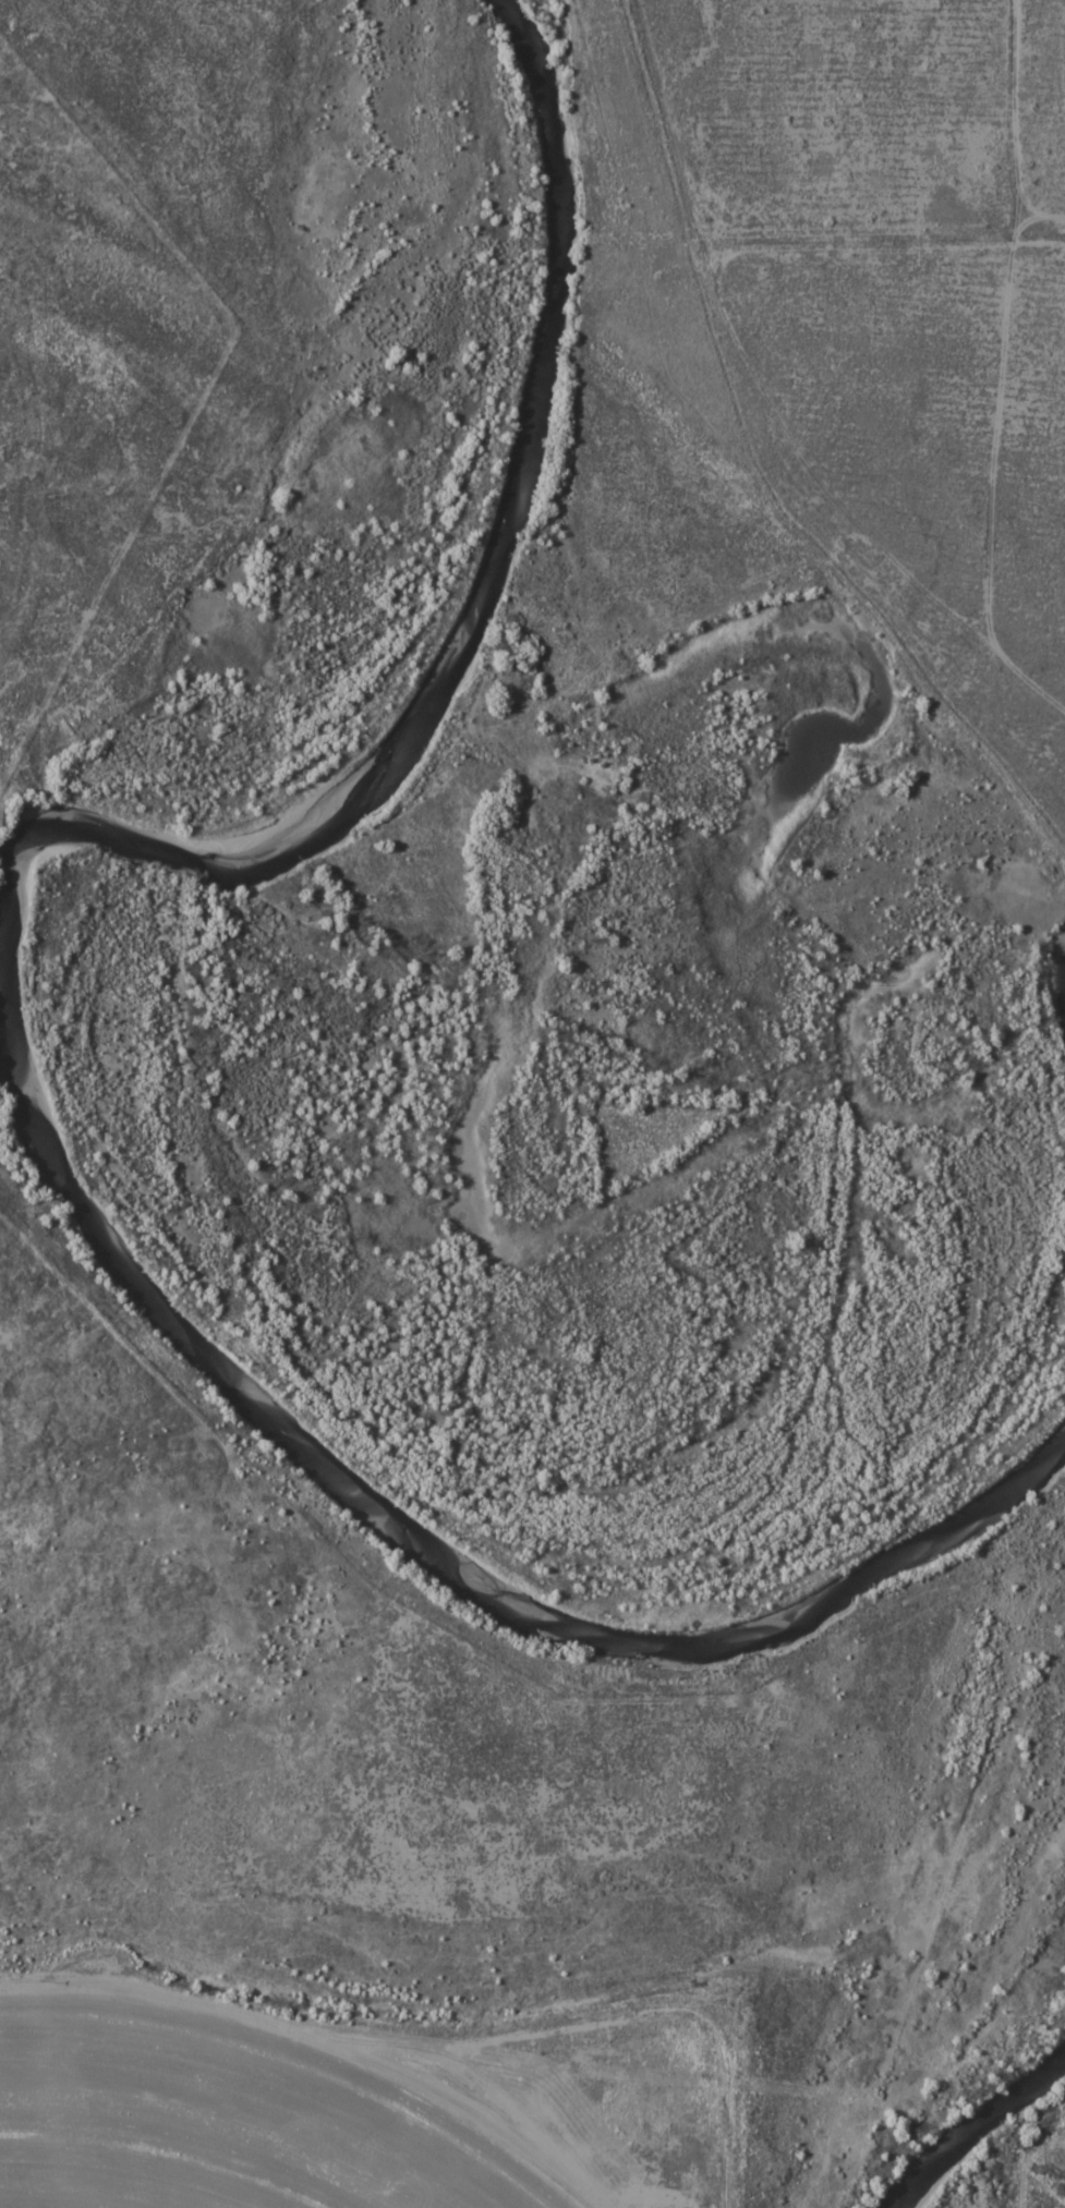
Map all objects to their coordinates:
river: (471, 596)
river: (423, 1554)
river: (973, 2126)

